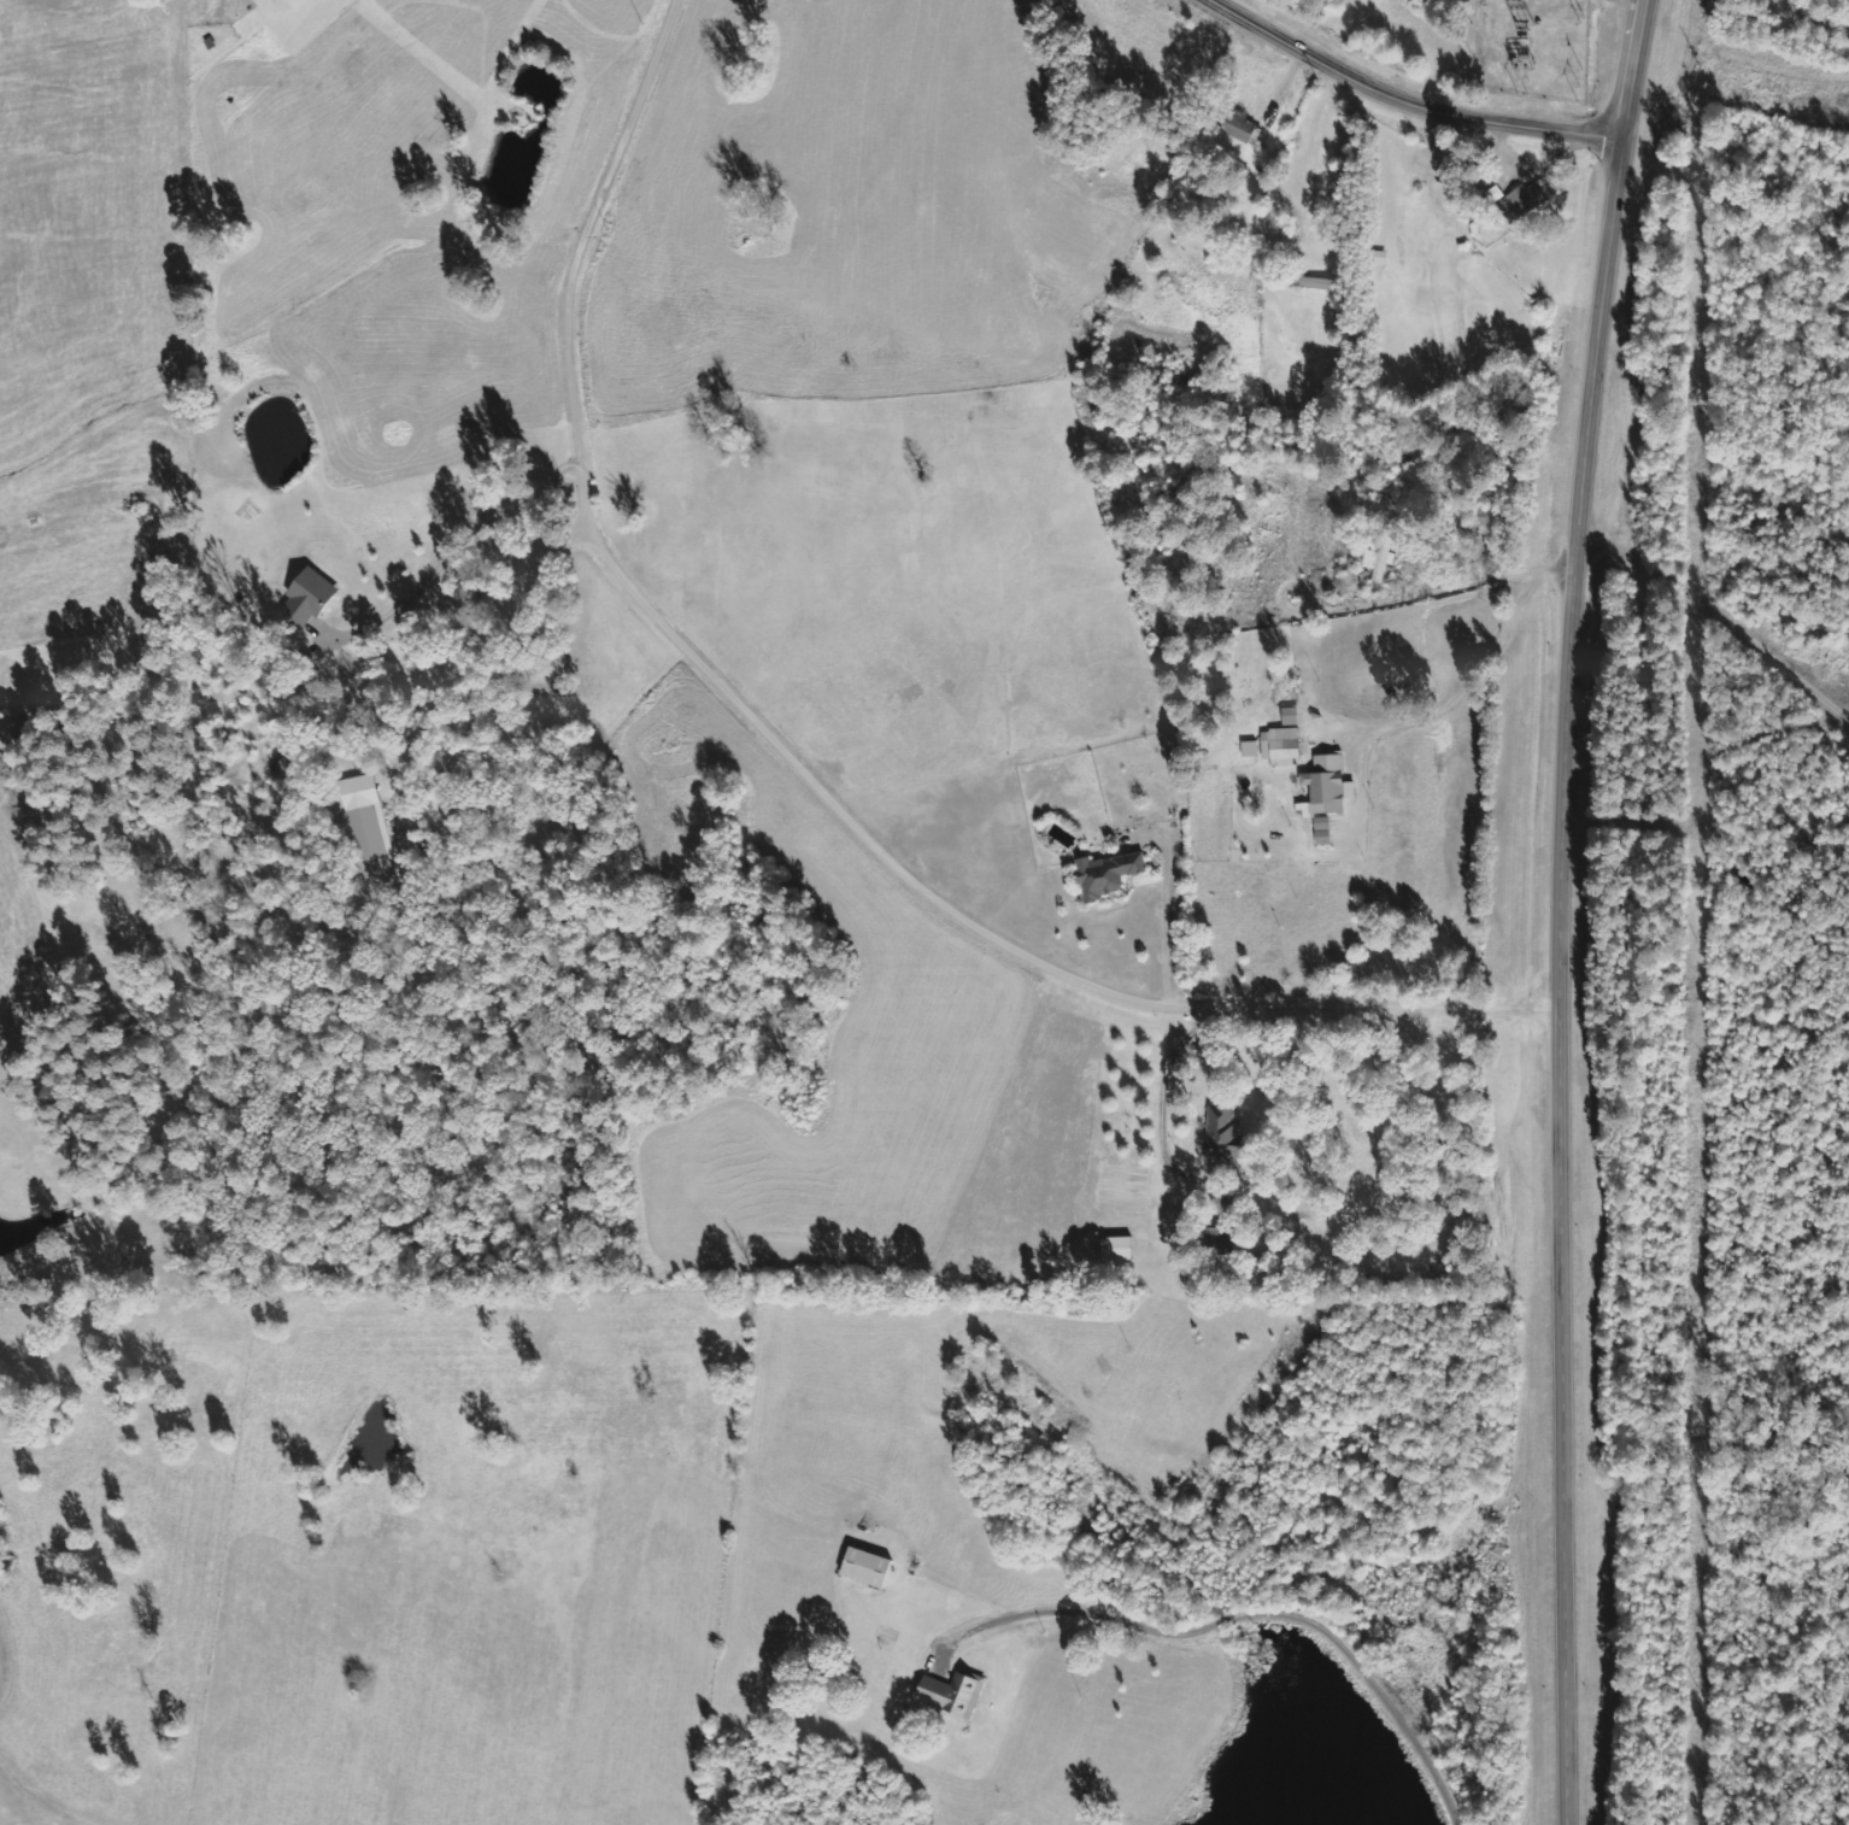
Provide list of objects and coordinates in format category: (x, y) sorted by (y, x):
road: (1837, 12)
power substation: (1542, 49)
road: (1409, 101)
building: (1240, 127)
building: (1521, 201)
building: (1380, 561)
road: (1719, 592)
building: (309, 595)
building: (1291, 715)
building: (1281, 745)
building: (1251, 747)
building: (1327, 792)
building: (368, 826)
building: (1109, 873)
road: (1561, 909)
building: (1226, 1132)
building: (1119, 1248)
building: (867, 1566)
road: (1231, 1619)
building: (953, 1692)

